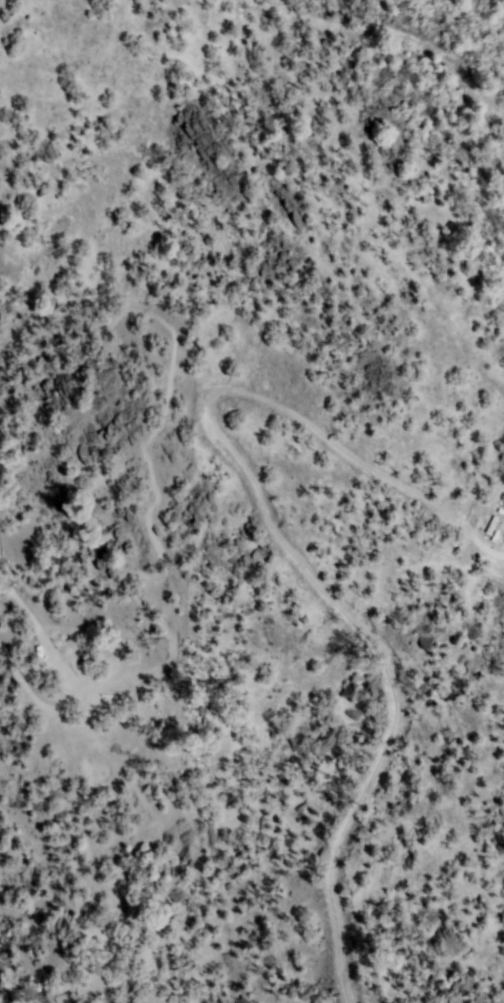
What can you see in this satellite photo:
building: (499, 512)
building: (491, 526)
building: (496, 536)

